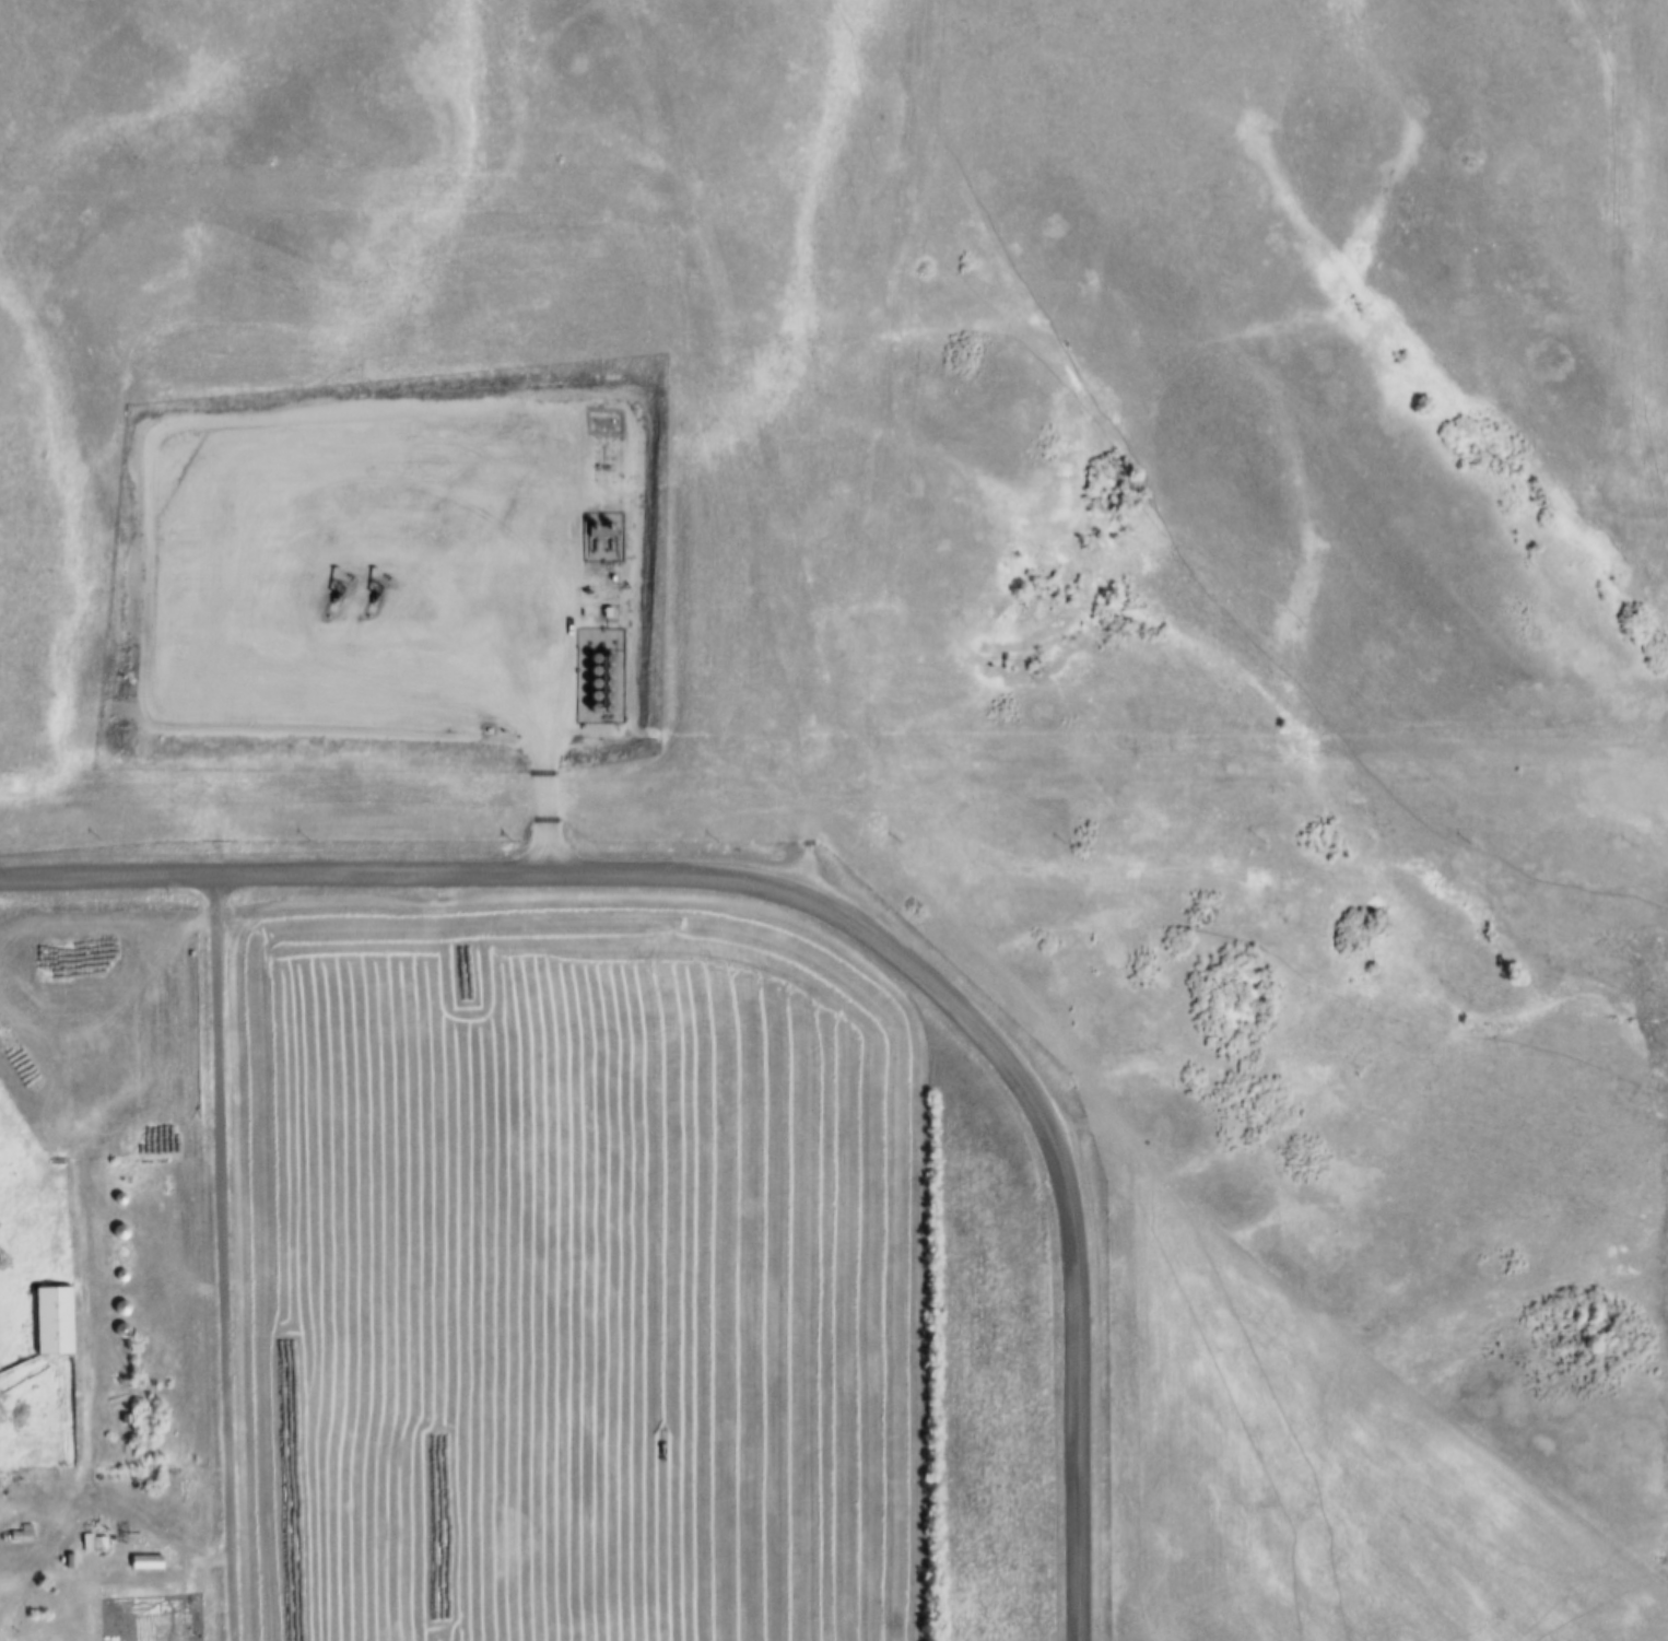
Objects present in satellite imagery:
road: (827, 909)
building: (116, 1233)
road: (83, 1257)
road: (222, 1257)
building: (49, 1321)
building: (19, 1535)
building: (92, 1544)

